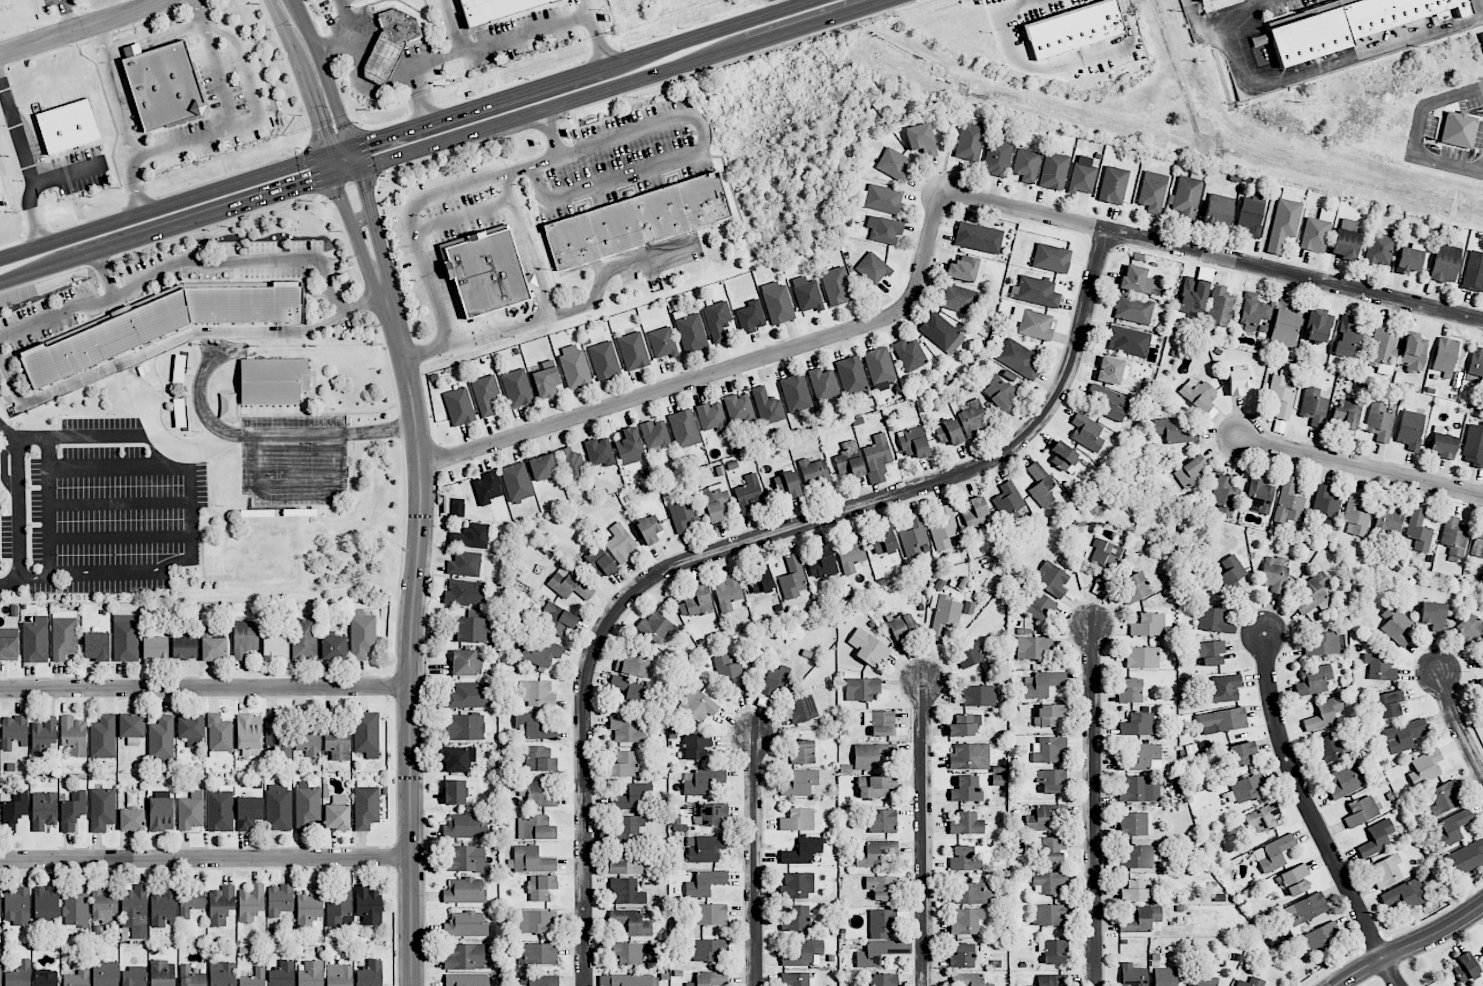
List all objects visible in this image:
road: (1029, 0)
building: (1200, 0)
road: (294, 1)
parking lot: (51, 2)
road: (1068, 2)
road: (85, 4)
road: (145, 4)
street lamp: (352, 6)
road: (1479, 8)
building: (494, 9)
road: (1197, 9)
road: (1232, 9)
road: (198, 11)
road: (68, 14)
street lamp: (894, 16)
road: (63, 18)
road: (1123, 21)
street lamp: (217, 23)
street lamp: (292, 25)
road: (701, 25)
building: (1348, 25)
building: (398, 26)
road: (204, 29)
road: (351, 29)
building: (1074, 29)
road: (175, 30)
road: (67, 31)
road: (284, 31)
street lamp: (991, 32)
road: (524, 33)
road: (595, 33)
building: (1482, 35)
road: (100, 36)
street lamp: (819, 38)
parking lot: (1012, 38)
road: (125, 40)
road: (334, 42)
road: (128, 48)
road: (602, 56)
road: (737, 58)
street lamp: (759, 58)
building: (382, 59)
gas station: (382, 59)
road: (432, 59)
road: (381, 62)
road: (241, 63)
street lamp: (1003, 64)
road: (1329, 64)
road: (1055, 66)
road: (402, 69)
street lamp: (1107, 72)
road: (581, 73)
road: (324, 74)
street lamp: (694, 78)
street lamp: (231, 79)
road: (221, 80)
road: (621, 84)
building: (165, 85)
road: (513, 85)
road: (229, 96)
street lamp: (634, 97)
parking lot: (222, 104)
road: (120, 105)
road: (219, 107)
street lamp: (327, 107)
road: (312, 108)
street lamp: (278, 111)
road: (345, 111)
road: (424, 113)
street lamp: (569, 119)
street lamp: (3, 125)
road: (543, 125)
building: (68, 126)
traffic signals: (320, 129)
building: (1458, 129)
road: (329, 131)
road: (551, 131)
street lamp: (507, 138)
road: (215, 139)
building: (921, 139)
road: (193, 140)
traffic signals: (373, 140)
street lamp: (222, 142)
building: (969, 142)
road: (19, 144)
road: (75, 147)
road: (339, 151)
road: (365, 153)
road: (689, 153)
street lamp: (188, 154)
road: (46, 157)
road: (354, 157)
building: (997, 158)
road: (62, 159)
road: (223, 164)
building: (893, 164)
road: (331, 165)
building: (1026, 165)
street lamp: (144, 168)
parking lot: (71, 169)
road: (314, 170)
building: (1054, 171)
road: (346, 172)
road: (67, 173)
road: (235, 173)
building: (1082, 178)
street lamp: (21, 180)
road: (67, 180)
building: (1113, 185)
traffic signals: (304, 186)
road: (350, 186)
road: (135, 187)
road: (376, 188)
traffic signals: (365, 191)
building: (1152, 191)
street lamp: (83, 192)
building: (1186, 198)
building: (883, 199)
road: (140, 203)
road: (164, 207)
road: (76, 208)
building: (1218, 210)
building: (1251, 215)
road: (361, 219)
building: (636, 221)
road: (80, 222)
road: (412, 222)
building: (1283, 224)
road: (36, 227)
road: (167, 229)
building: (884, 229)
road: (375, 231)
building: (1316, 232)
road: (356, 238)
building: (978, 238)
building: (1345, 244)
building: (1379, 250)
road: (1211, 254)
building: (1051, 258)
building: (1409, 260)
building: (1445, 262)
road: (180, 263)
road: (611, 267)
building: (963, 268)
building: (872, 269)
building: (485, 272)
building: (1474, 272)
road: (104, 274)
building: (1136, 280)
building: (836, 286)
building: (1035, 291)
road: (542, 293)
building: (806, 294)
building: (1193, 297)
building: (958, 299)
building: (778, 303)
road: (363, 306)
building: (1219, 308)
building: (1133, 309)
building: (1253, 311)
building: (750, 317)
building: (717, 321)
building: (1033, 323)
building: (1286, 323)
building: (161, 325)
building: (1318, 326)
building: (690, 331)
building: (941, 333)
building: (1348, 337)
building: (1128, 341)
building: (662, 343)
building: (1381, 346)
road: (154, 347)
building: (633, 351)
building: (1413, 352)
building: (909, 355)
building: (1445, 356)
building: (1019, 359)
building: (604, 361)
building: (574, 366)
building: (879, 366)
building: (1476, 366)
building: (178, 369)
road: (721, 370)
building: (1112, 371)
building: (851, 375)
building: (546, 379)
building: (273, 380)
building: (1238, 381)
building: (823, 384)
building: (517, 388)
building: (1001, 391)
building: (795, 393)
building: (485, 394)
building: (1281, 394)
building: (1200, 397)
building: (1111, 403)
building: (227, 405)
building: (459, 406)
building: (1314, 406)
building: (767, 407)
building: (739, 408)
building: (179, 413)
building: (711, 417)
building: (972, 417)
building: (1379, 422)
building: (684, 428)
building: (1410, 429)
building: (1174, 431)
building: (948, 432)
building: (1086, 432)
road: (296, 435)
building: (655, 435)
building: (913, 442)
building: (1442, 444)
building: (1473, 444)
road: (167, 445)
building: (629, 447)
building: (599, 452)
building: (1062, 456)
building: (877, 458)
building: (849, 460)
building: (572, 466)
road: (1361, 466)
road: (118, 467)
building: (542, 467)
street lamp: (444, 471)
building: (1190, 473)
building: (814, 474)
building: (516, 482)
building: (787, 484)
building: (1040, 485)
building: (487, 488)
building: (748, 494)
building: (1224, 496)
building: (1259, 496)
building: (1289, 501)
road: (120, 502)
building: (1008, 502)
building: (716, 503)
building: (1325, 505)
road: (50, 507)
road: (20, 508)
building: (976, 514)
building: (683, 516)
building: (1356, 516)
building: (1388, 520)
building: (944, 528)
building: (648, 529)
building: (1419, 530)
building: (470, 536)
building: (913, 536)
road: (120, 537)
building: (1454, 538)
building: (884, 541)
building: (1478, 542)
building: (620, 543)
road: (744, 544)
building: (850, 554)
building: (601, 562)
building: (821, 563)
building: (464, 564)
building: (1232, 569)
road: (123, 575)
building: (1273, 575)
building: (792, 578)
building: (761, 579)
building: (1051, 579)
building: (568, 584)
building: (1135, 587)
building: (727, 592)
building: (460, 593)
building: (1312, 594)
building: (695, 602)
building: (1039, 606)
building: (1432, 615)
building: (944, 616)
building: (558, 619)
building: (1214, 621)
building: (1148, 625)
building: (1396, 625)
building: (656, 627)
building: (902, 627)
building: (1467, 628)
building: (471, 630)
building: (64, 634)
building: (362, 635)
building: (125, 637)
building: (244, 638)
building: (304, 639)
road: (410, 639)
building: (35, 640)
building: (1320, 643)
building: (274, 645)
building: (96, 646)
building: (213, 647)
building: (1032, 647)
building: (155, 648)
building: (184, 648)
building: (334, 648)
building: (868, 648)
building: (540, 652)
building: (1209, 652)
building: (969, 654)
building: (1479, 654)
building: (1144, 657)
building: (465, 663)
building: (633, 663)
building: (1379, 668)
building: (731, 674)
building: (774, 680)
building: (1313, 680)
building: (1042, 684)
building: (1480, 685)
road: (205, 689)
building: (861, 689)
building: (1224, 689)
building: (630, 691)
building: (1130, 691)
building: (537, 693)
building: (470, 695)
building: (978, 696)
street lamp: (392, 702)
building: (1388, 704)
building: (697, 705)
building: (802, 709)
building: (1323, 714)
building: (1049, 715)
building: (1222, 720)
building: (880, 723)
road: (1456, 723)
building: (1138, 724)
building: (131, 725)
building: (963, 725)
building: (190, 727)
building: (534, 727)
building: (465, 728)
building: (626, 729)
building: (14, 732)
building: (366, 734)
building: (43, 735)
building: (73, 735)
building: (249, 735)
building: (1404, 735)
building: (218, 736)
building: (103, 737)
building: (276, 739)
building: (308, 740)
building: (162, 741)
building: (337, 745)
building: (695, 746)
building: (1049, 749)
building: (1327, 749)
building: (804, 752)
building: (1241, 754)
building: (872, 755)
building: (969, 756)
building: (1140, 758)
building: (458, 759)
building: (539, 759)
building: (623, 765)
building: (1425, 767)
building: (1051, 780)
building: (701, 781)
building: (1344, 781)
building: (799, 783)
building: (875, 787)
building: (1247, 788)
building: (966, 790)
building: (1139, 790)
building: (455, 792)
building: (537, 793)
building: (632, 797)
building: (1444, 797)
road: (1093, 805)
building: (307, 806)
building: (366, 806)
building: (278, 807)
building: (102, 809)
building: (73, 810)
building: (220, 810)
building: (14, 811)
building: (44, 811)
building: (1361, 811)
building: (190, 813)
building: (248, 813)
building: (337, 813)
building: (161, 814)
building: (710, 815)
road: (1312, 815)
building: (1045, 817)
building: (1262, 818)
building: (131, 820)
building: (801, 820)
building: (882, 821)
building: (965, 823)
building: (1133, 824)
building: (465, 826)
building: (536, 828)
building: (629, 828)
building: (1452, 828)
road: (925, 832)
building: (1376, 838)
building: (705, 849)
building: (1051, 849)
building: (802, 851)
building: (875, 853)
building: (1273, 854)
building: (1143, 857)
building: (1466, 858)
road: (205, 859)
road: (755, 859)
building: (964, 859)
building: (466, 860)
building: (531, 860)
building: (626, 862)
building: (1386, 871)
street lamp: (394, 872)
building: (1295, 880)
building: (1048, 882)
building: (705, 883)
building: (797, 885)
building: (541, 887)
building: (881, 887)
building: (464, 891)
building: (1134, 891)
building: (627, 892)
building: (970, 893)
building: (1406, 894)
building: (191, 899)
building: (279, 900)
building: (251, 903)
building: (46, 904)
building: (104, 904)
building: (368, 904)
building: (220, 905)
building: (310, 905)
building: (17, 906)
building: (76, 907)
building: (163, 907)
building: (340, 908)
building: (1306, 908)
building: (135, 911)
building: (709, 914)
building: (1049, 915)
building: (0, 917)
building: (800, 918)
building: (1142, 920)
building: (966, 921)
building: (536, 922)
building: (631, 922)
building: (882, 923)
building: (466, 925)
street lamp: (1386, 936)
building: (1321, 937)
road: (1408, 944)
building: (708, 950)
building: (1055, 951)
building: (881, 952)
building: (628, 953)
building: (537, 954)
building: (804, 954)
building: (961, 956)
building: (465, 958)
building: (1465, 968)
building: (105, 973)
building: (162, 973)
building: (0, 974)
building: (222, 974)
building: (282, 974)
building: (310, 974)
building: (370, 974)
building: (18, 975)
building: (339, 975)
building: (1133, 975)
building: (134, 976)
building: (190, 977)
building: (1164, 977)
building: (253, 978)
building: (77, 979)
building: (709, 979)
building: (796, 979)
building: (45, 980)
building: (465, 980)
building: (539, 980)
building: (634, 980)
building: (883, 980)
building: (967, 980)
building: (1048, 980)
building: (1251, 982)

